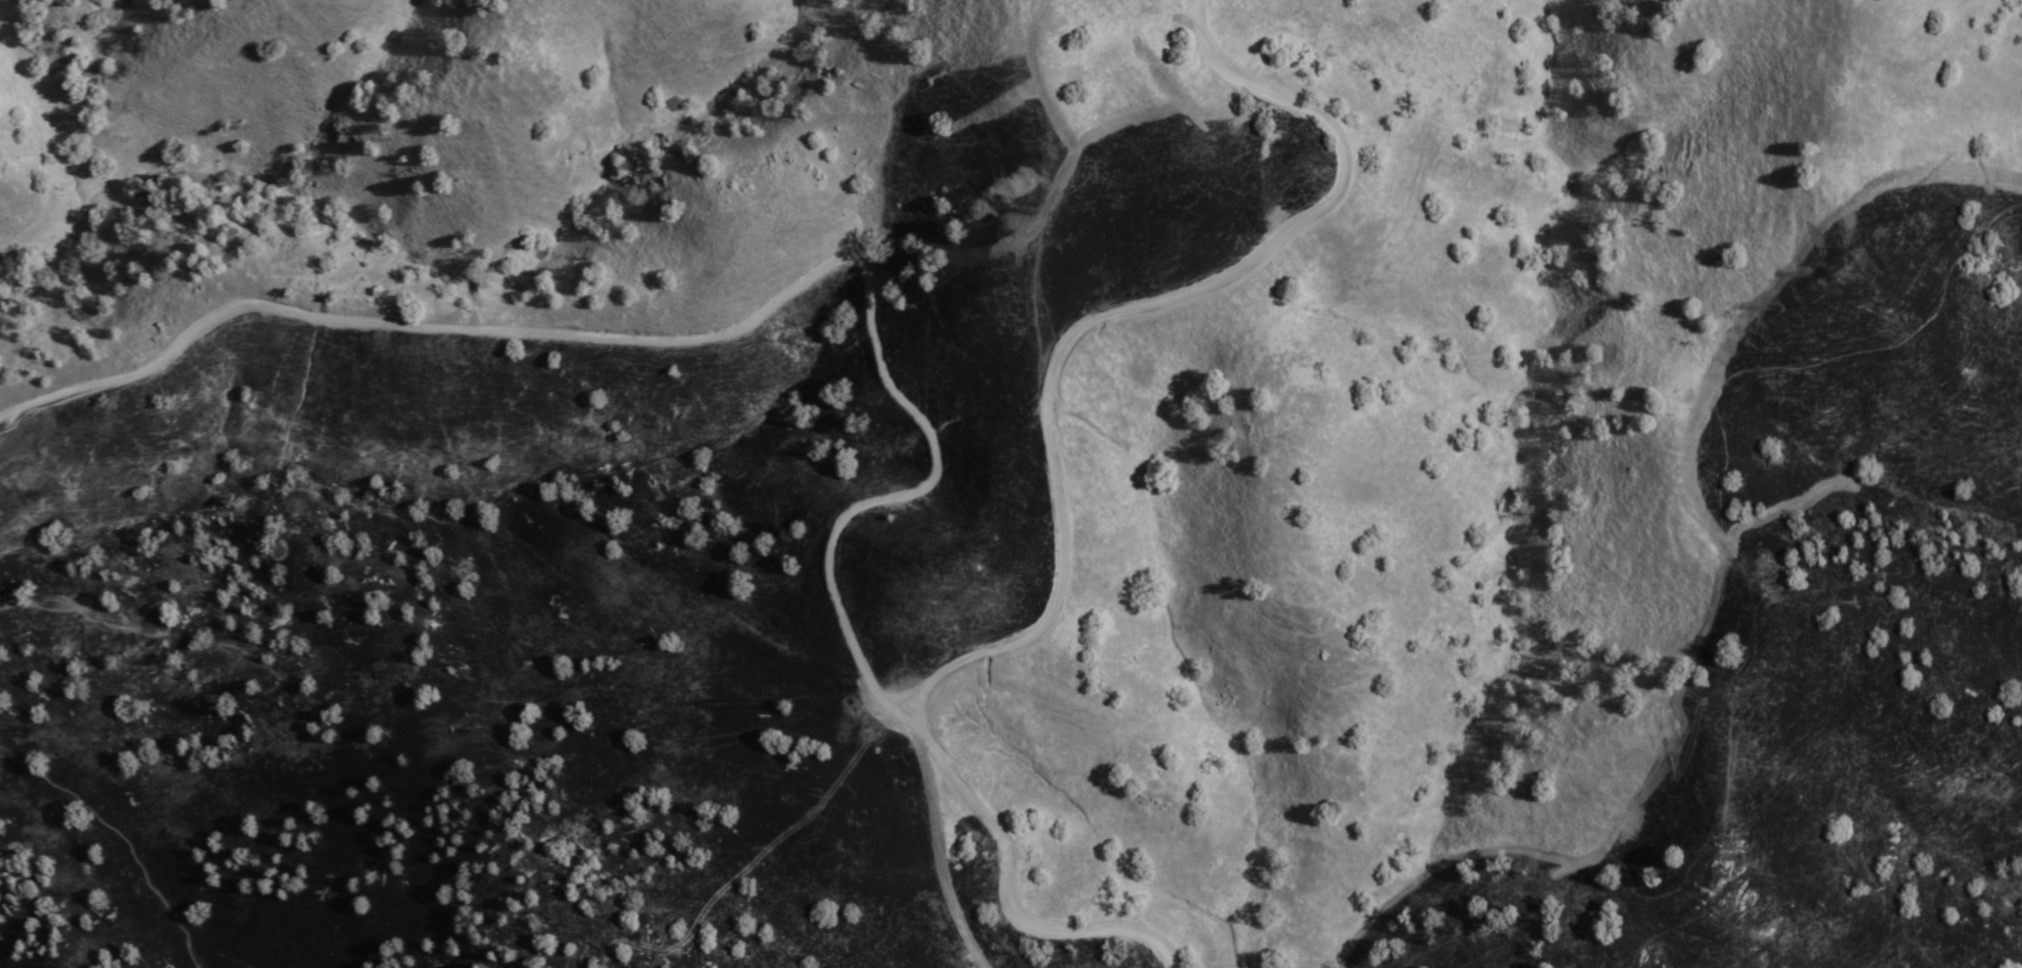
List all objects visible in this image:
road: (834, 502)
road: (1007, 828)
road: (939, 861)

